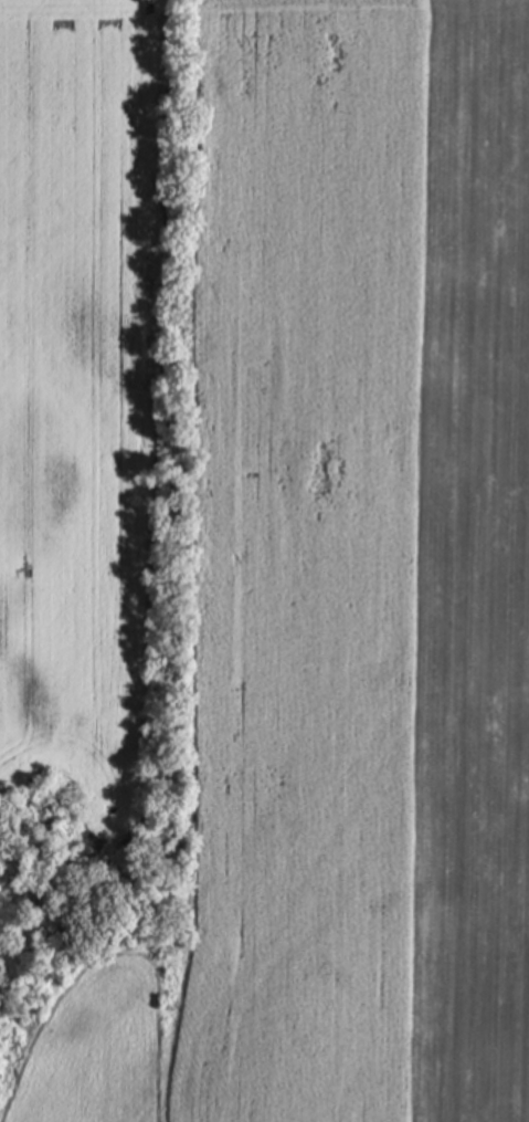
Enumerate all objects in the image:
crop: (88, 407)

